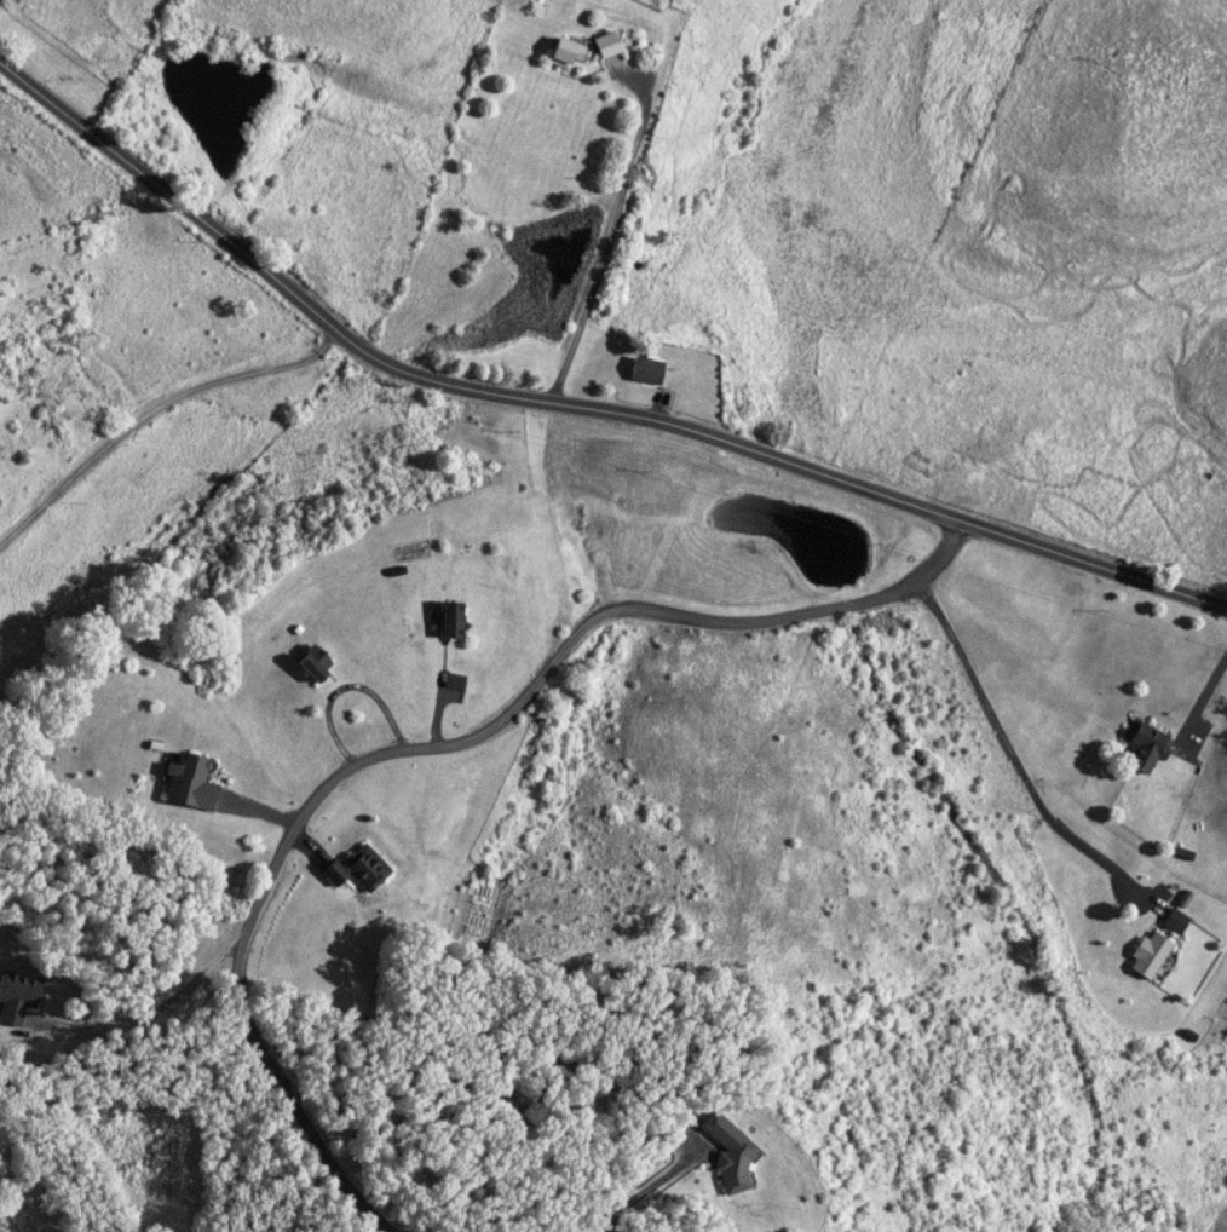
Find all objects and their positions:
building: (609, 46)
building: (570, 51)
road: (620, 201)
building: (646, 370)
road: (574, 404)
building: (450, 617)
building: (312, 667)
road: (424, 745)
building: (1147, 745)
building: (358, 867)
building: (1176, 920)
building: (1150, 952)
building: (17, 995)
building: (728, 1150)

